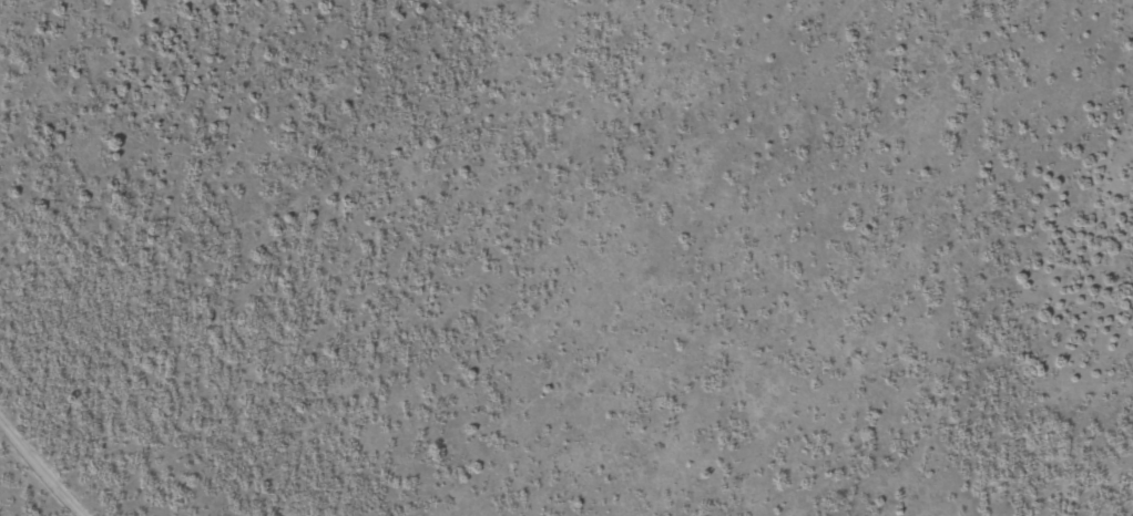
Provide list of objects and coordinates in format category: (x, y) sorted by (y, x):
road: (37, 458)

